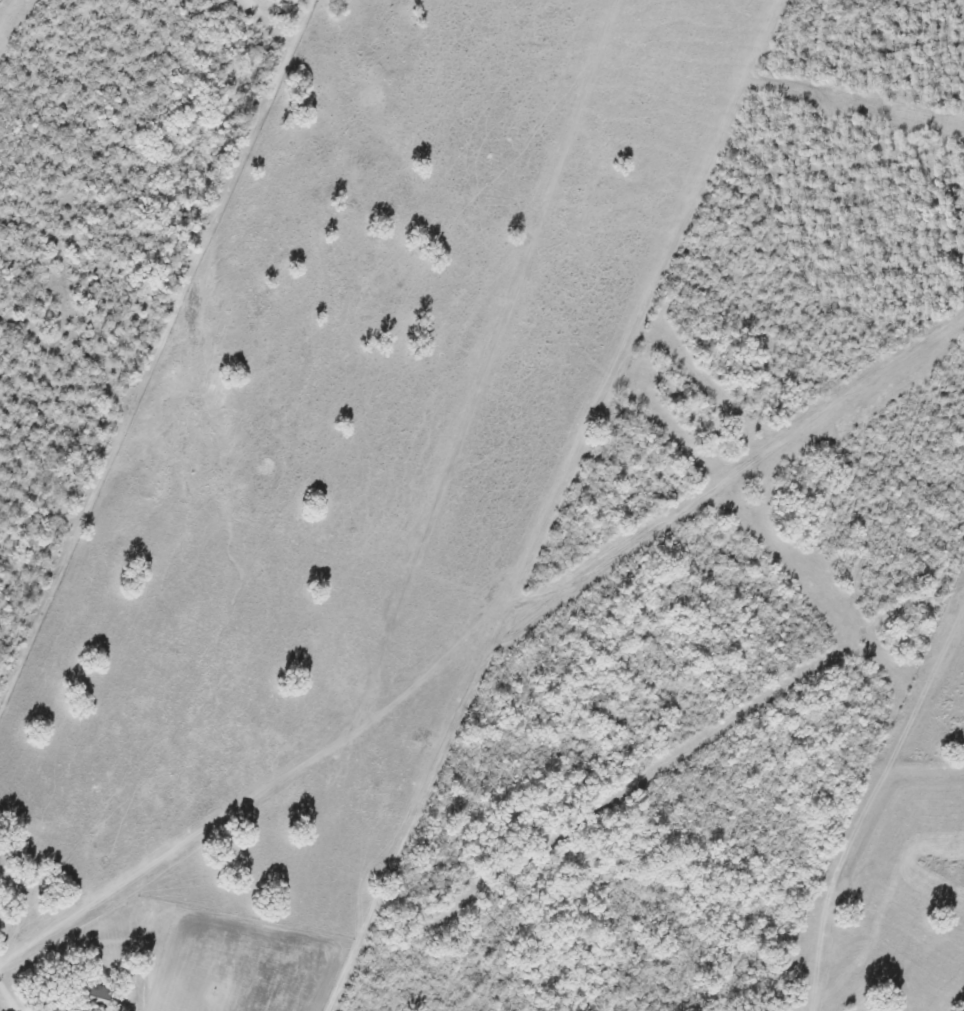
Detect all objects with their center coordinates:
building: (95, 997)

